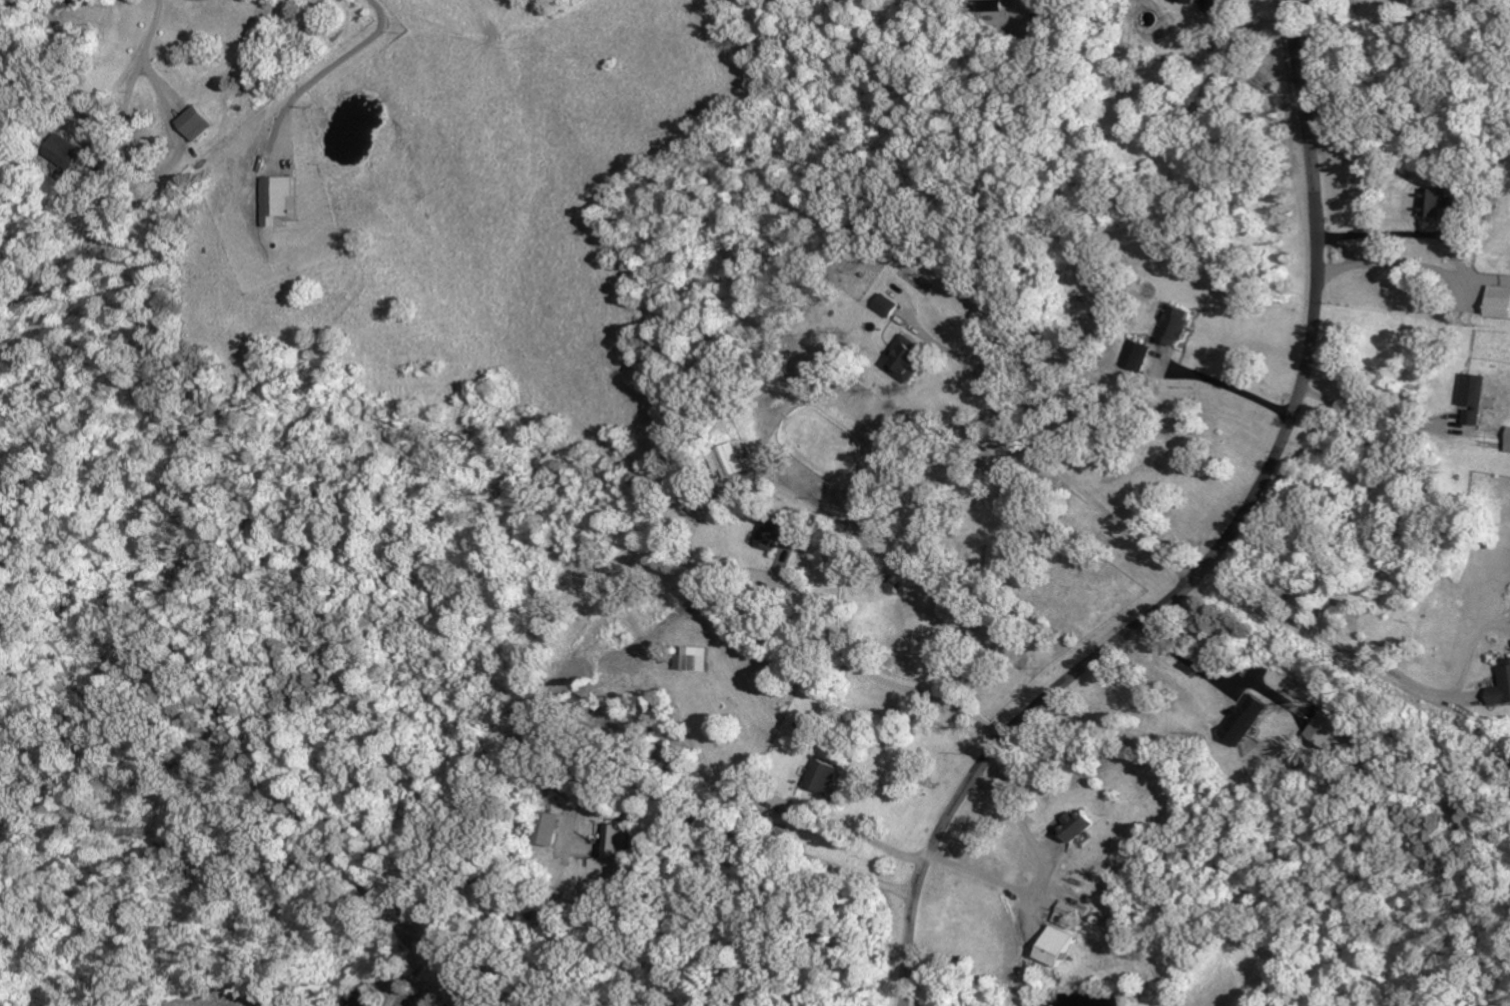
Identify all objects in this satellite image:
road: (1463, 0)
building: (990, 5)
road: (153, 31)
road: (329, 70)
building: (196, 123)
building: (61, 151)
building: (278, 201)
building: (1433, 203)
road: (1460, 259)
road: (1342, 266)
building: (1498, 302)
building: (887, 305)
building: (1175, 325)
building: (1134, 355)
building: (905, 357)
road: (1229, 385)
building: (1473, 398)
road: (1374, 412)
building: (1508, 441)
building: (737, 460)
road: (1077, 482)
building: (781, 533)
road: (1219, 552)
road: (1341, 643)
road: (1185, 658)
building: (692, 659)
road: (879, 677)
building: (1501, 690)
building: (1245, 720)
building: (1323, 729)
building: (821, 777)
road: (739, 825)
building: (1075, 827)
building: (543, 829)
road: (876, 841)
building: (617, 842)
road: (1040, 879)
building: (1065, 916)
building: (1054, 947)

